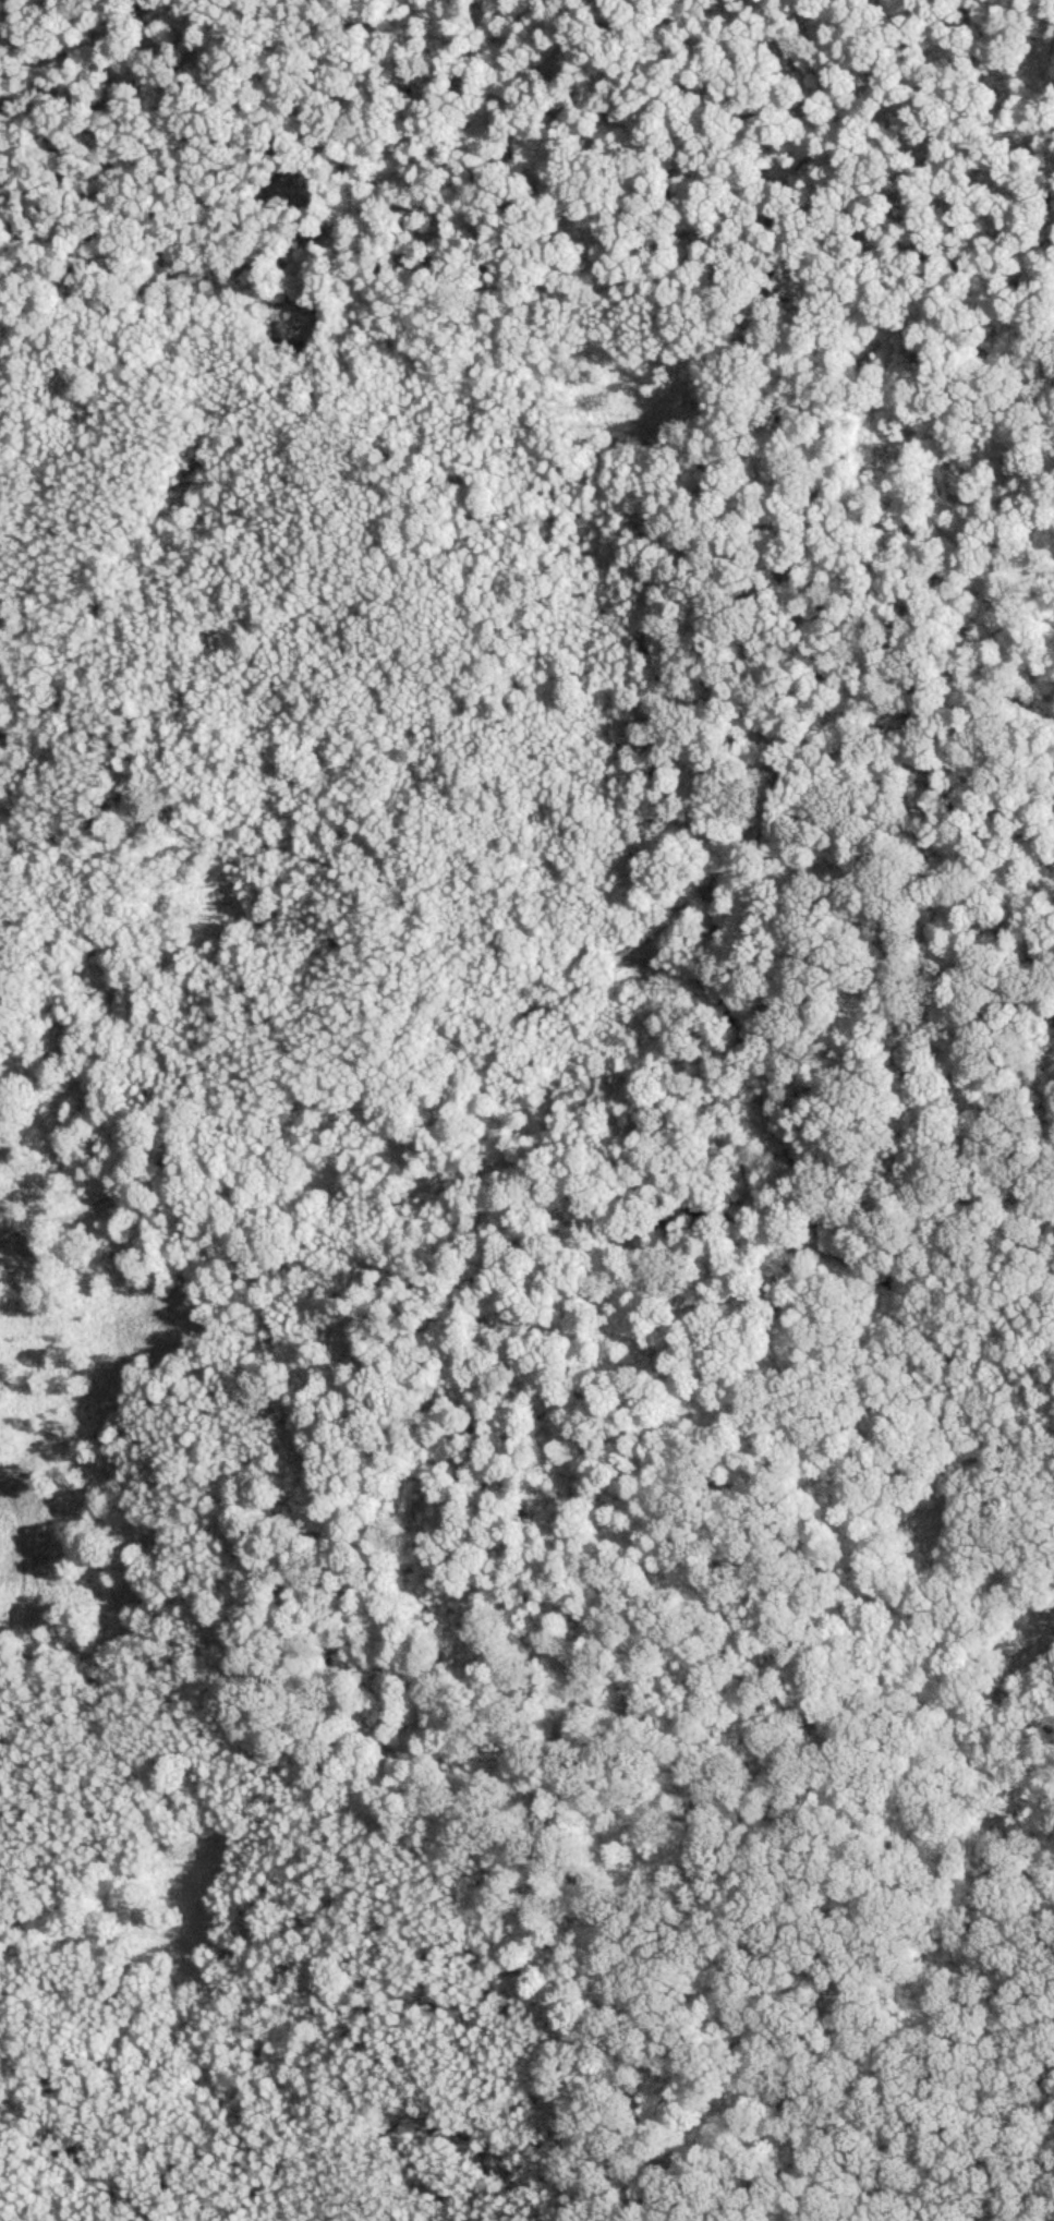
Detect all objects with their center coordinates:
road: (777, 814)

